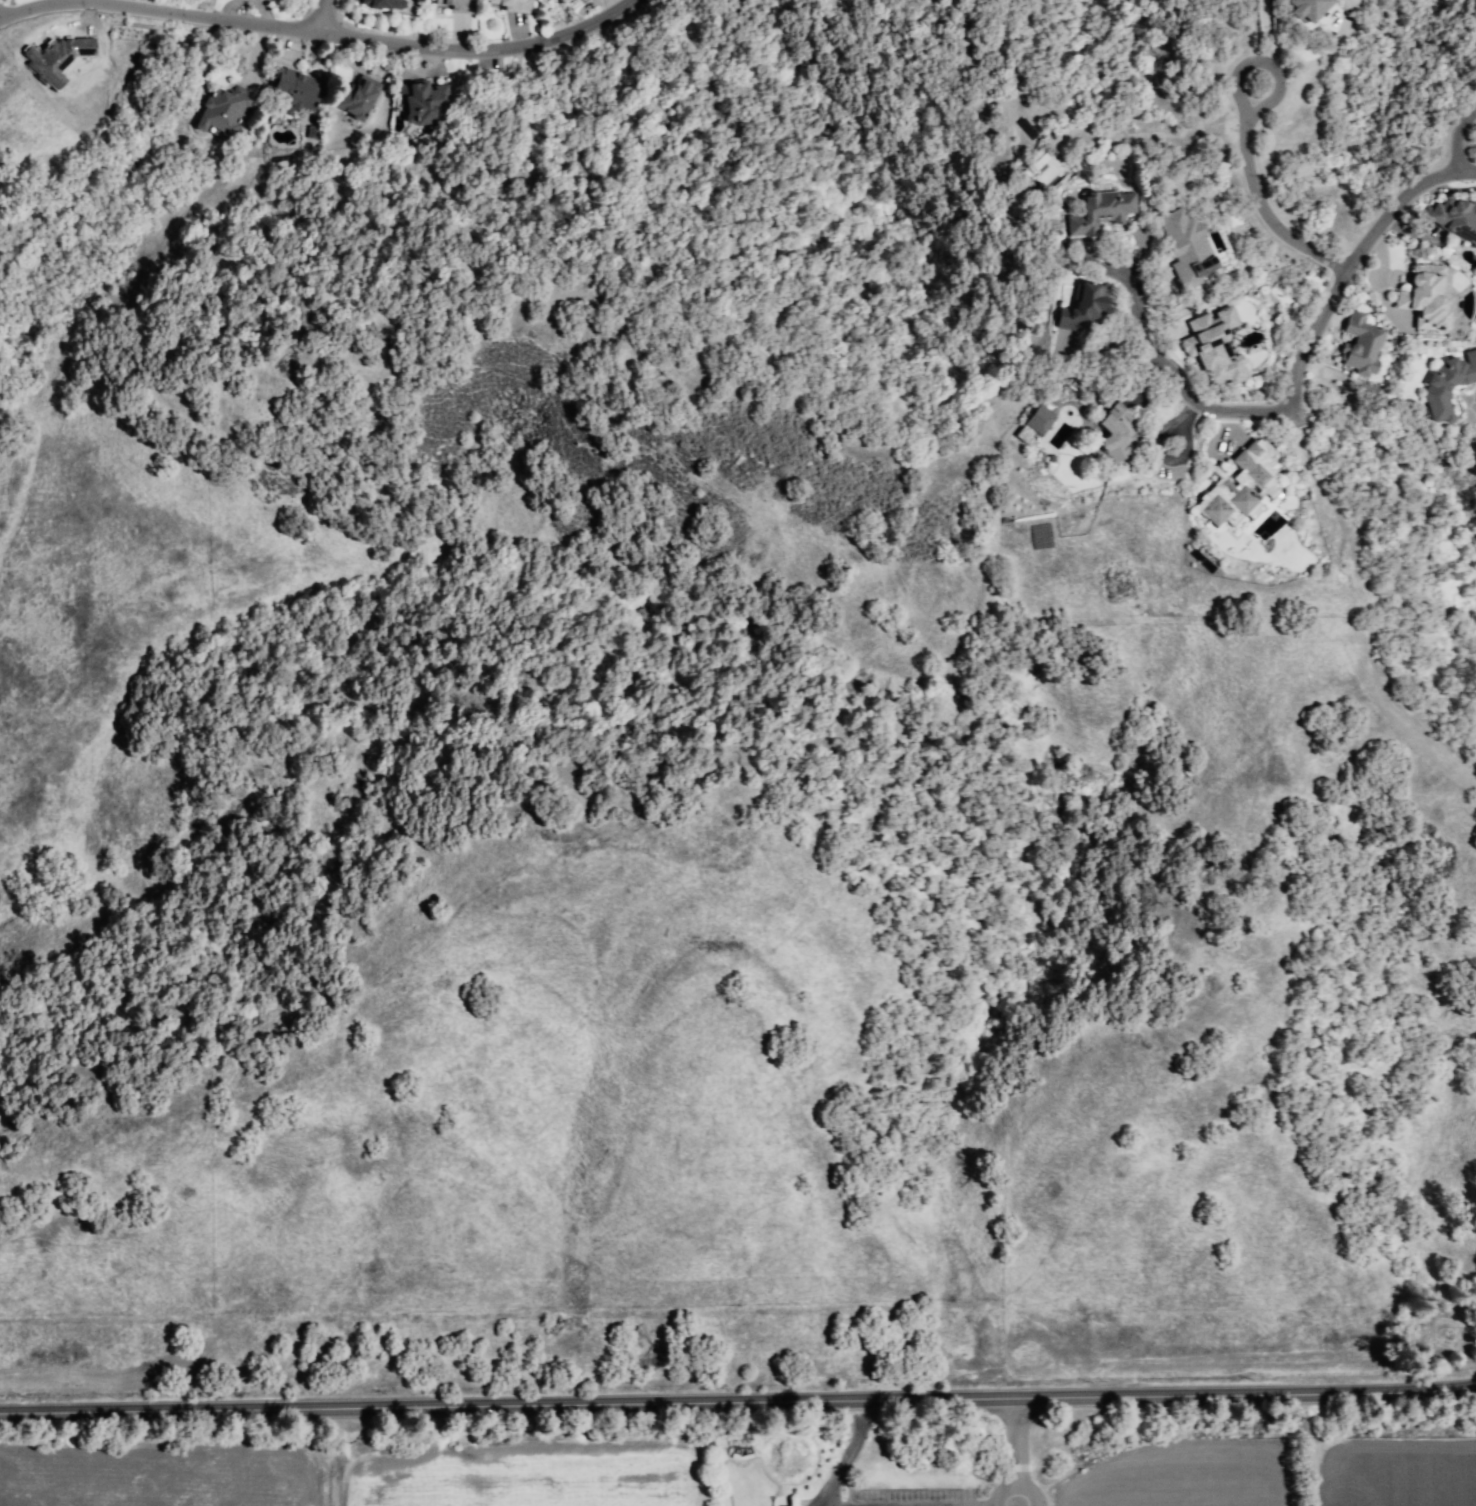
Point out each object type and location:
building: (569, 1)
building: (388, 4)
building: (461, 5)
building: (517, 6)
building: (1306, 7)
road: (323, 16)
road: (320, 31)
road: (1265, 31)
building: (300, 91)
building: (359, 97)
road: (1271, 97)
building: (419, 101)
building: (226, 110)
road: (1455, 136)
road: (1465, 171)
road: (1270, 206)
building: (1104, 210)
building: (1451, 223)
building: (1185, 247)
building: (1417, 300)
building: (1092, 308)
road: (1319, 312)
building: (1452, 325)
building: (1356, 344)
building: (1218, 348)
road: (1170, 373)
building: (1445, 384)
road: (1187, 411)
building: (1038, 419)
building: (1122, 434)
road: (1189, 450)
building: (1245, 487)
road: (738, 1404)
road: (1311, 1450)
road: (1008, 1452)
road: (846, 1456)
road: (332, 1461)
crop: (524, 1474)
crop: (172, 1475)
parking lot: (907, 1496)
road: (827, 1503)

